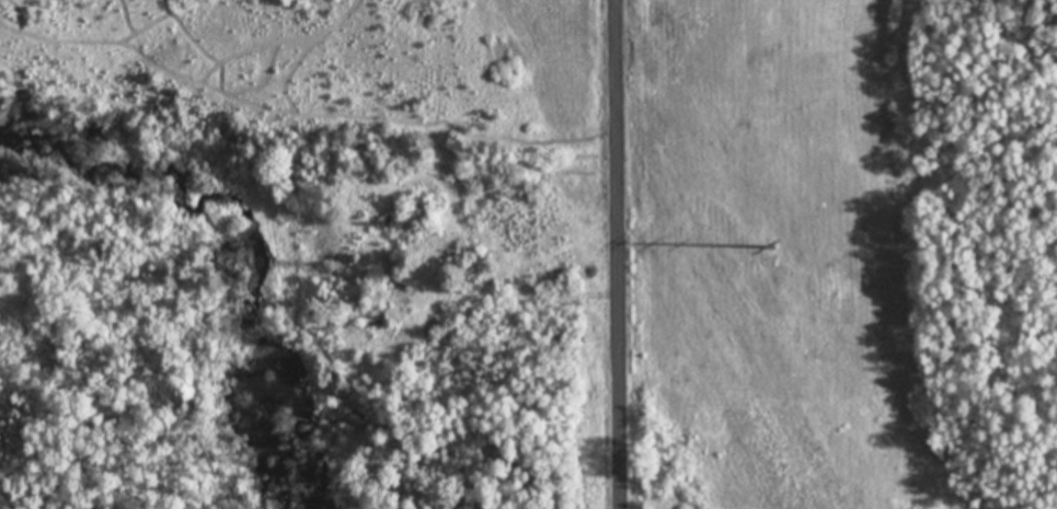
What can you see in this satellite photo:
crop: (768, 207)
power tower: (769, 243)
road: (622, 254)

